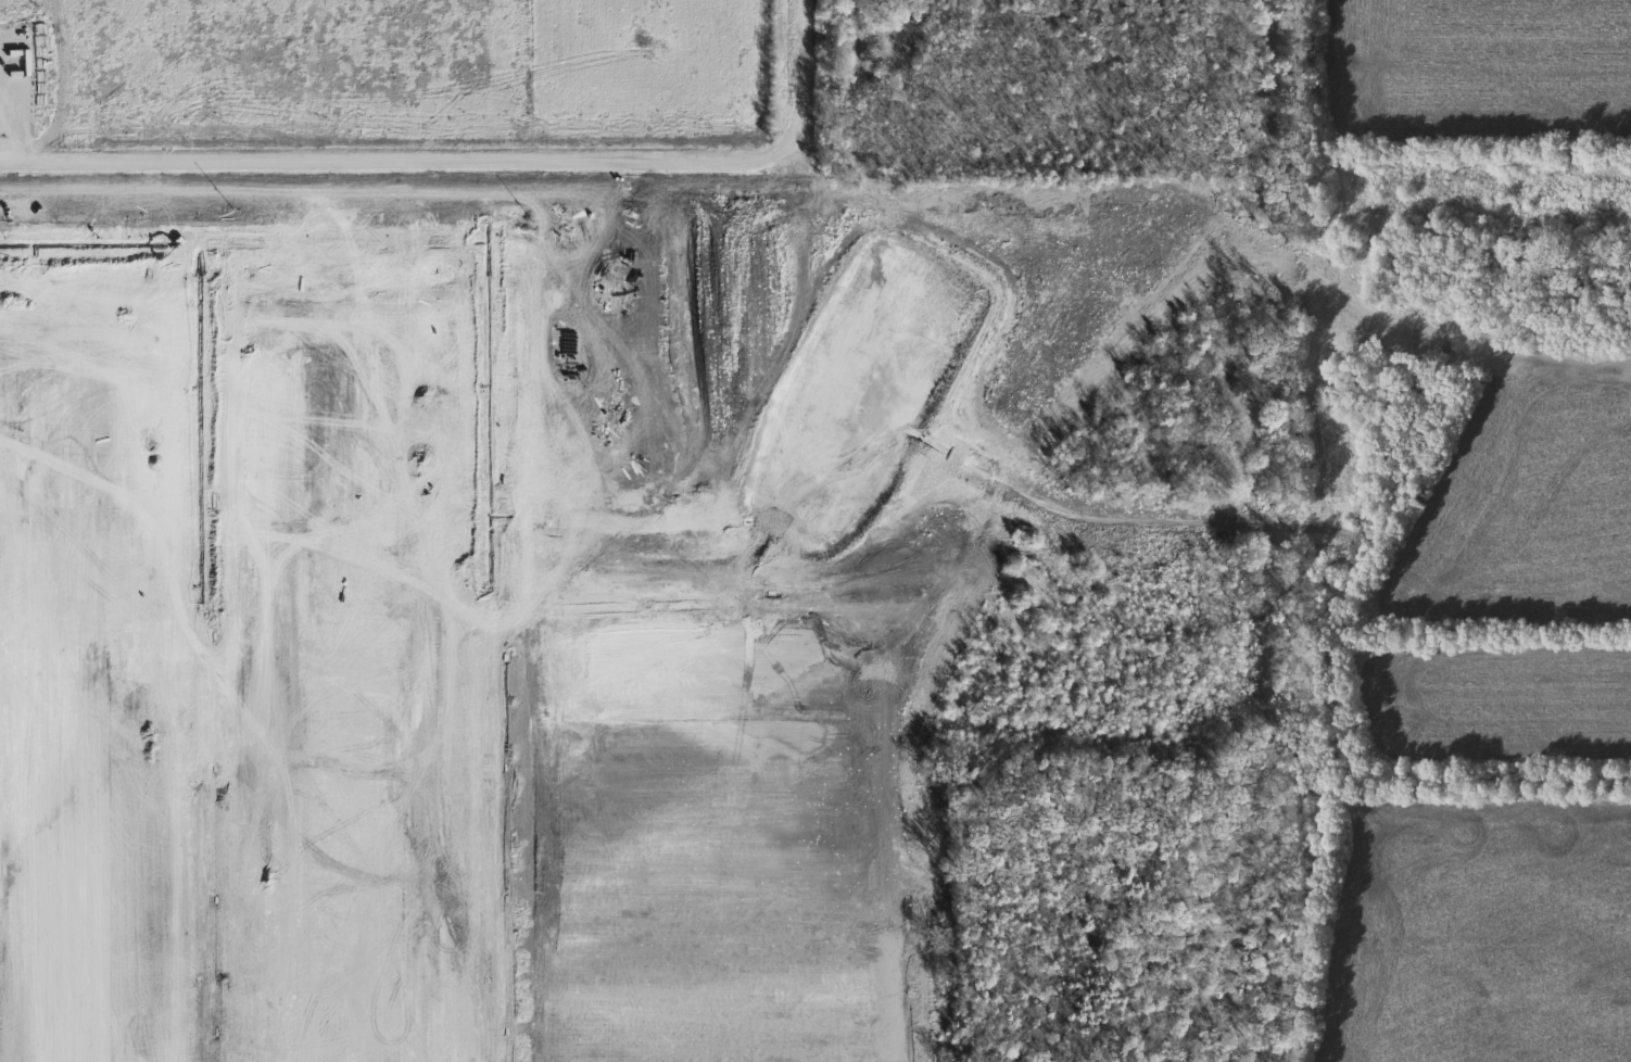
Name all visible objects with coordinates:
road: (472, 163)
road: (1046, 491)

